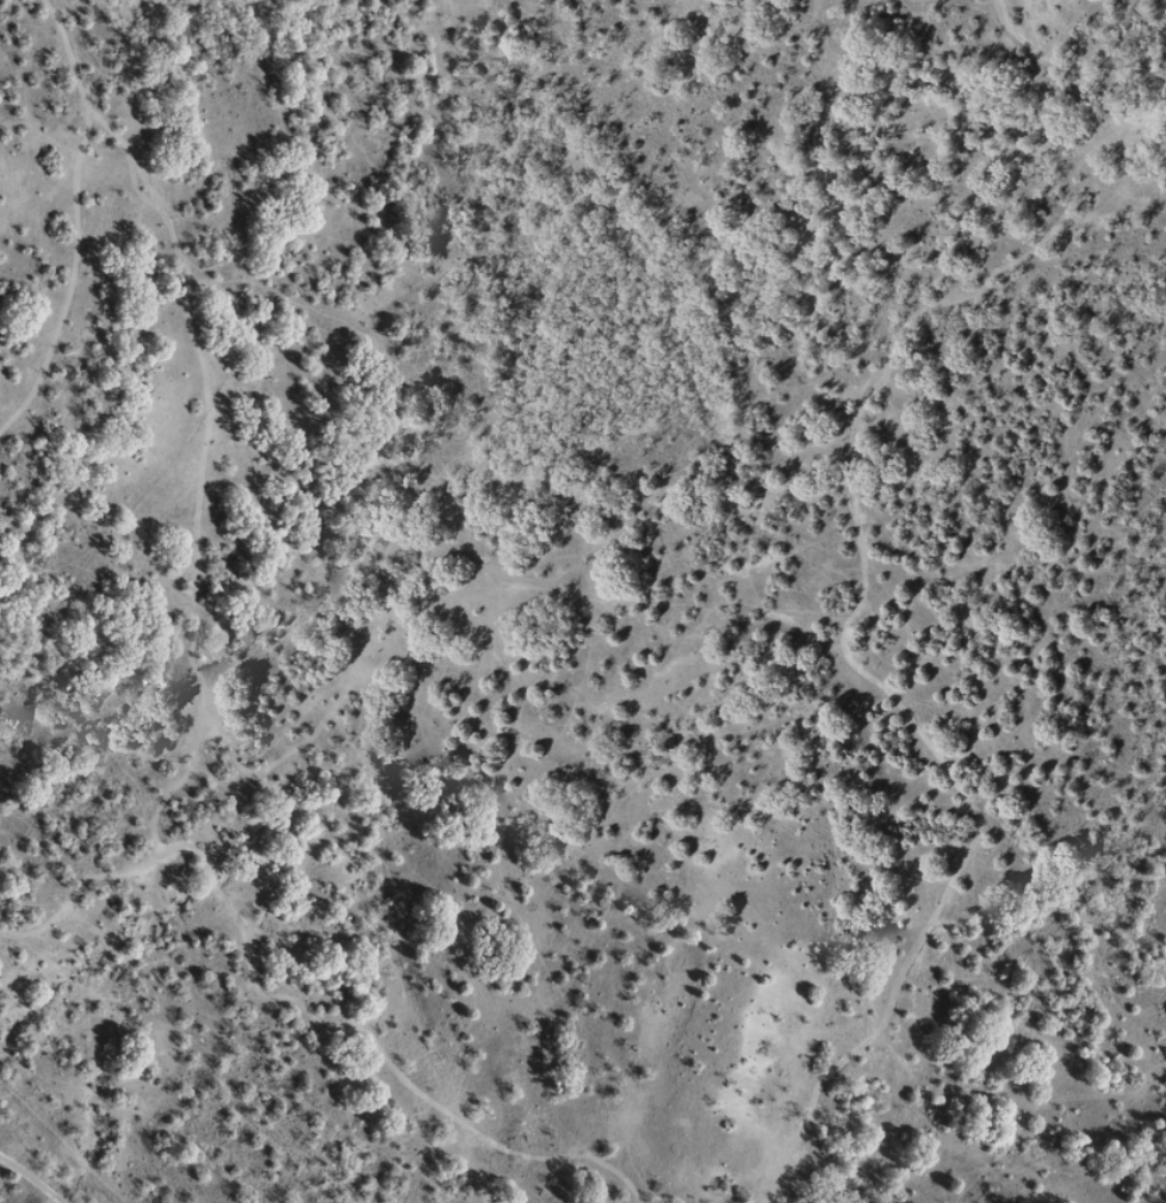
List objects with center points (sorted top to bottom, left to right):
road: (41, 1166)

